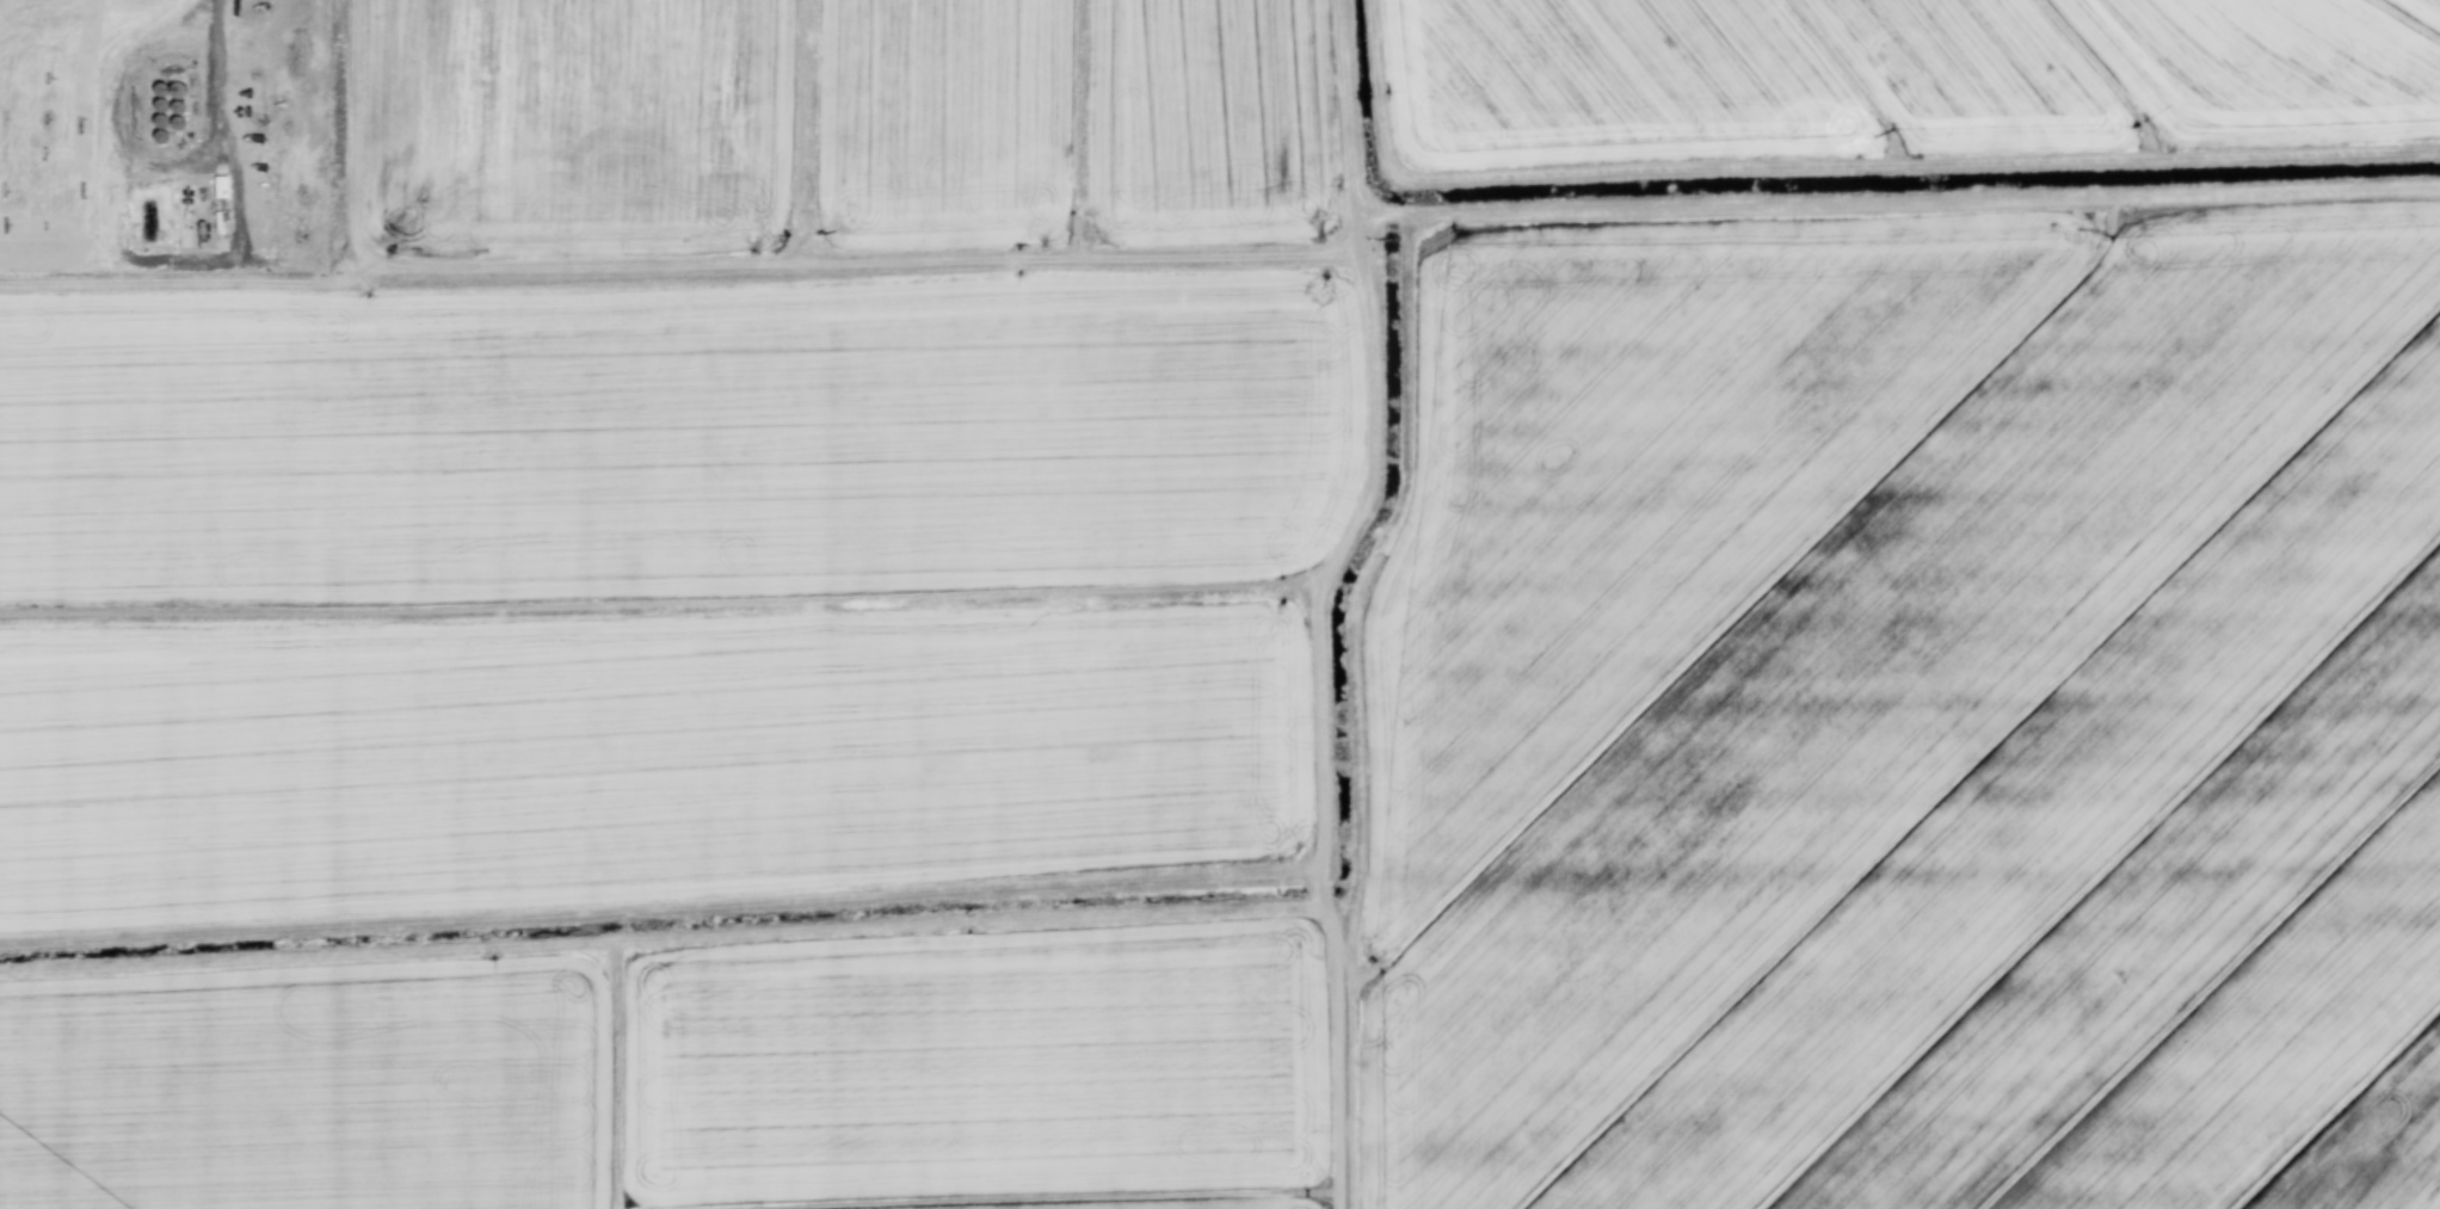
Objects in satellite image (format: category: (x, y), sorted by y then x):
road: (148, 159)
road: (1900, 203)

